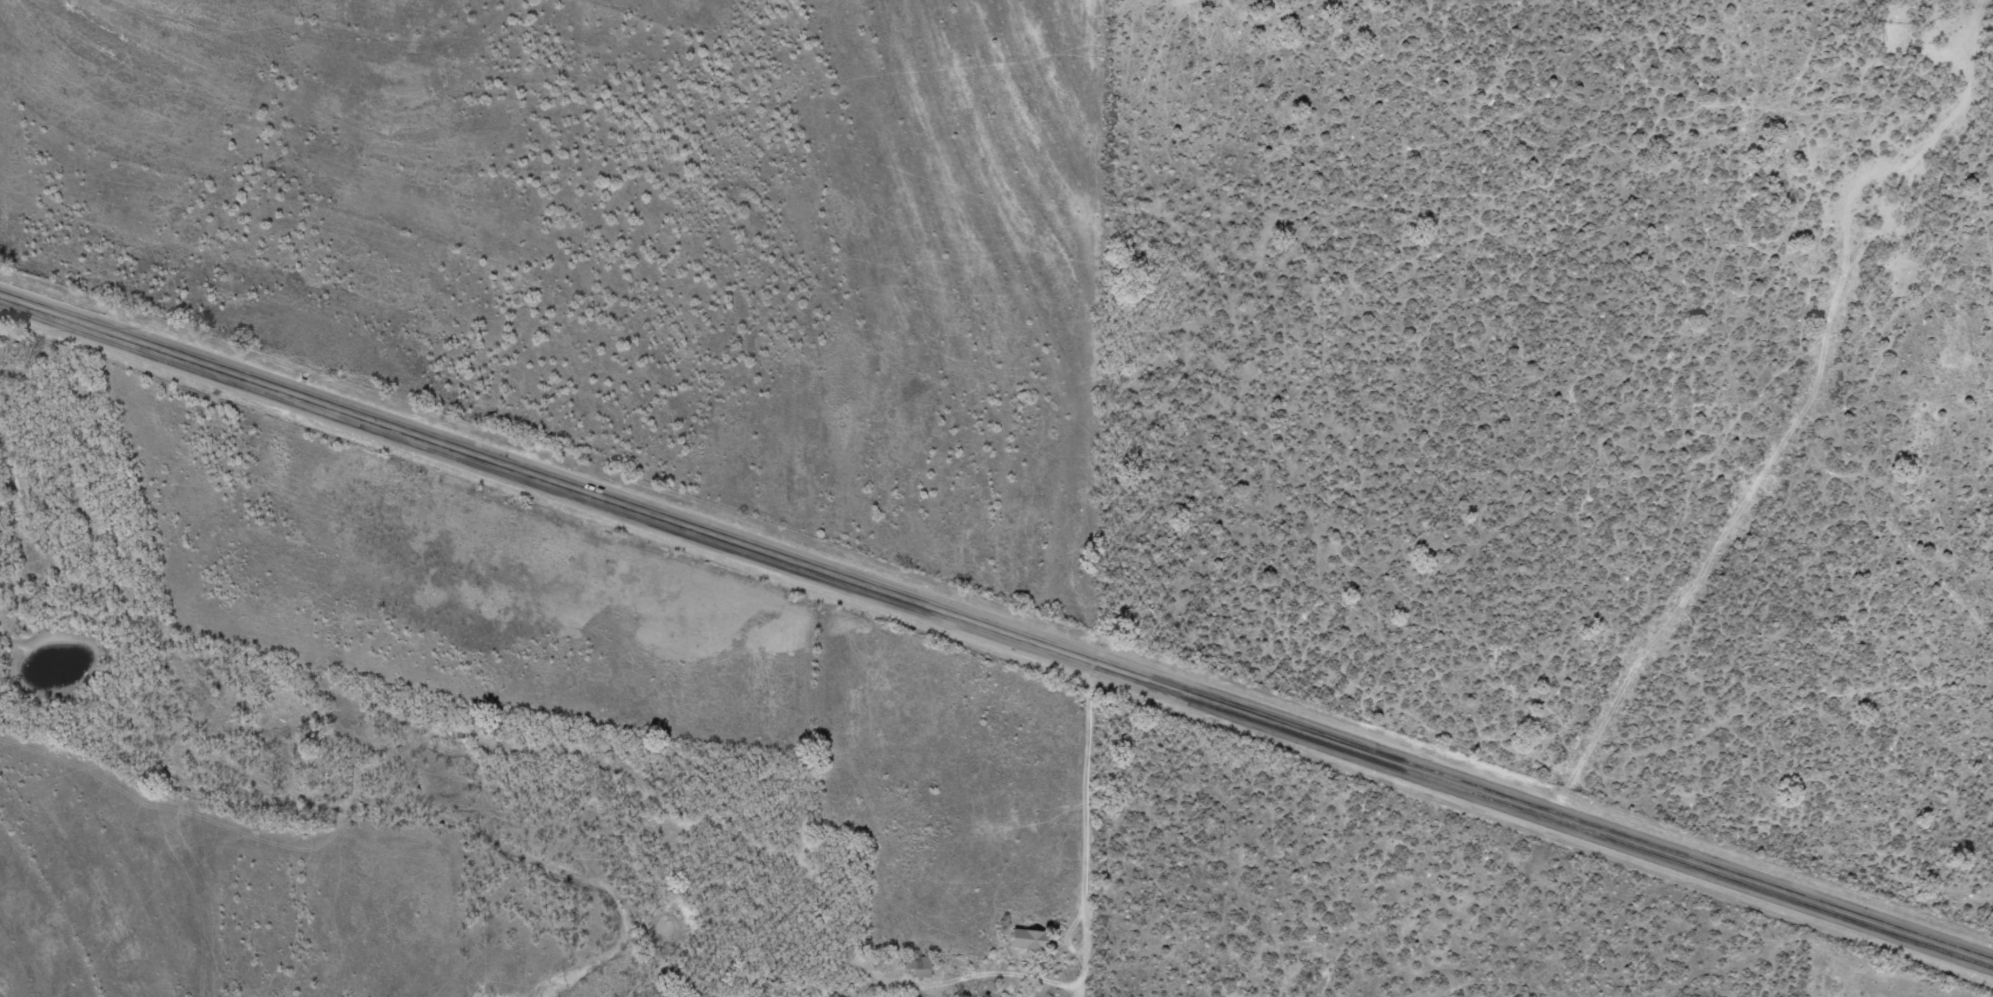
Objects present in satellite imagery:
road: (996, 630)
building: (1032, 938)
building: (920, 964)

